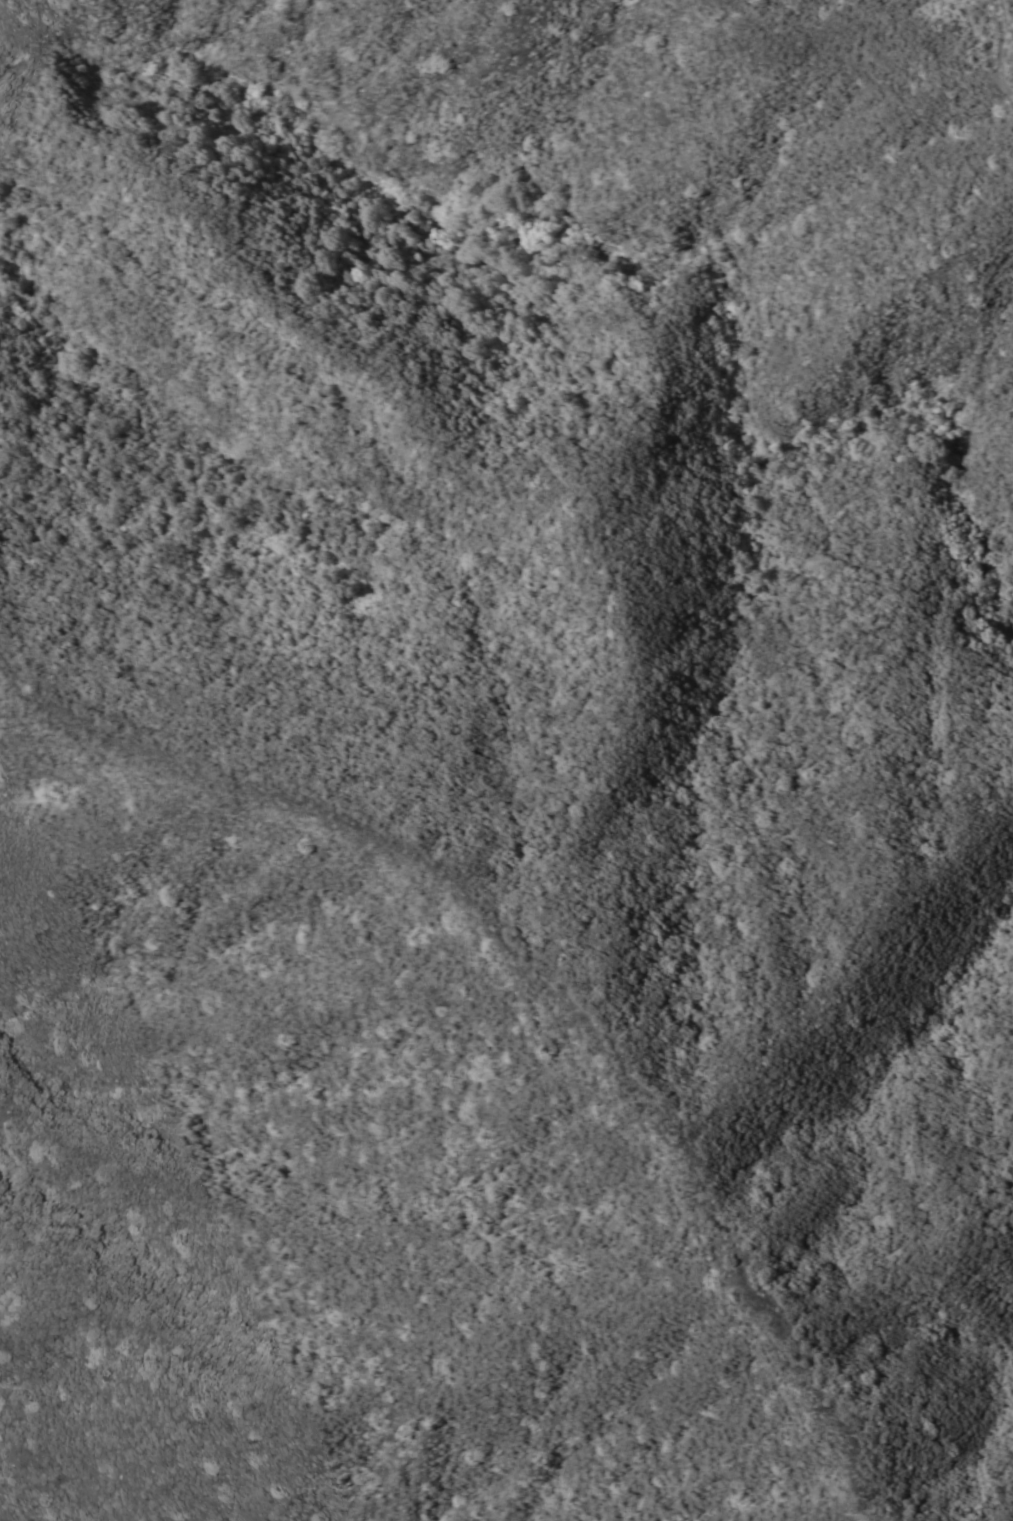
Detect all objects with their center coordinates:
road: (1002, 52)

